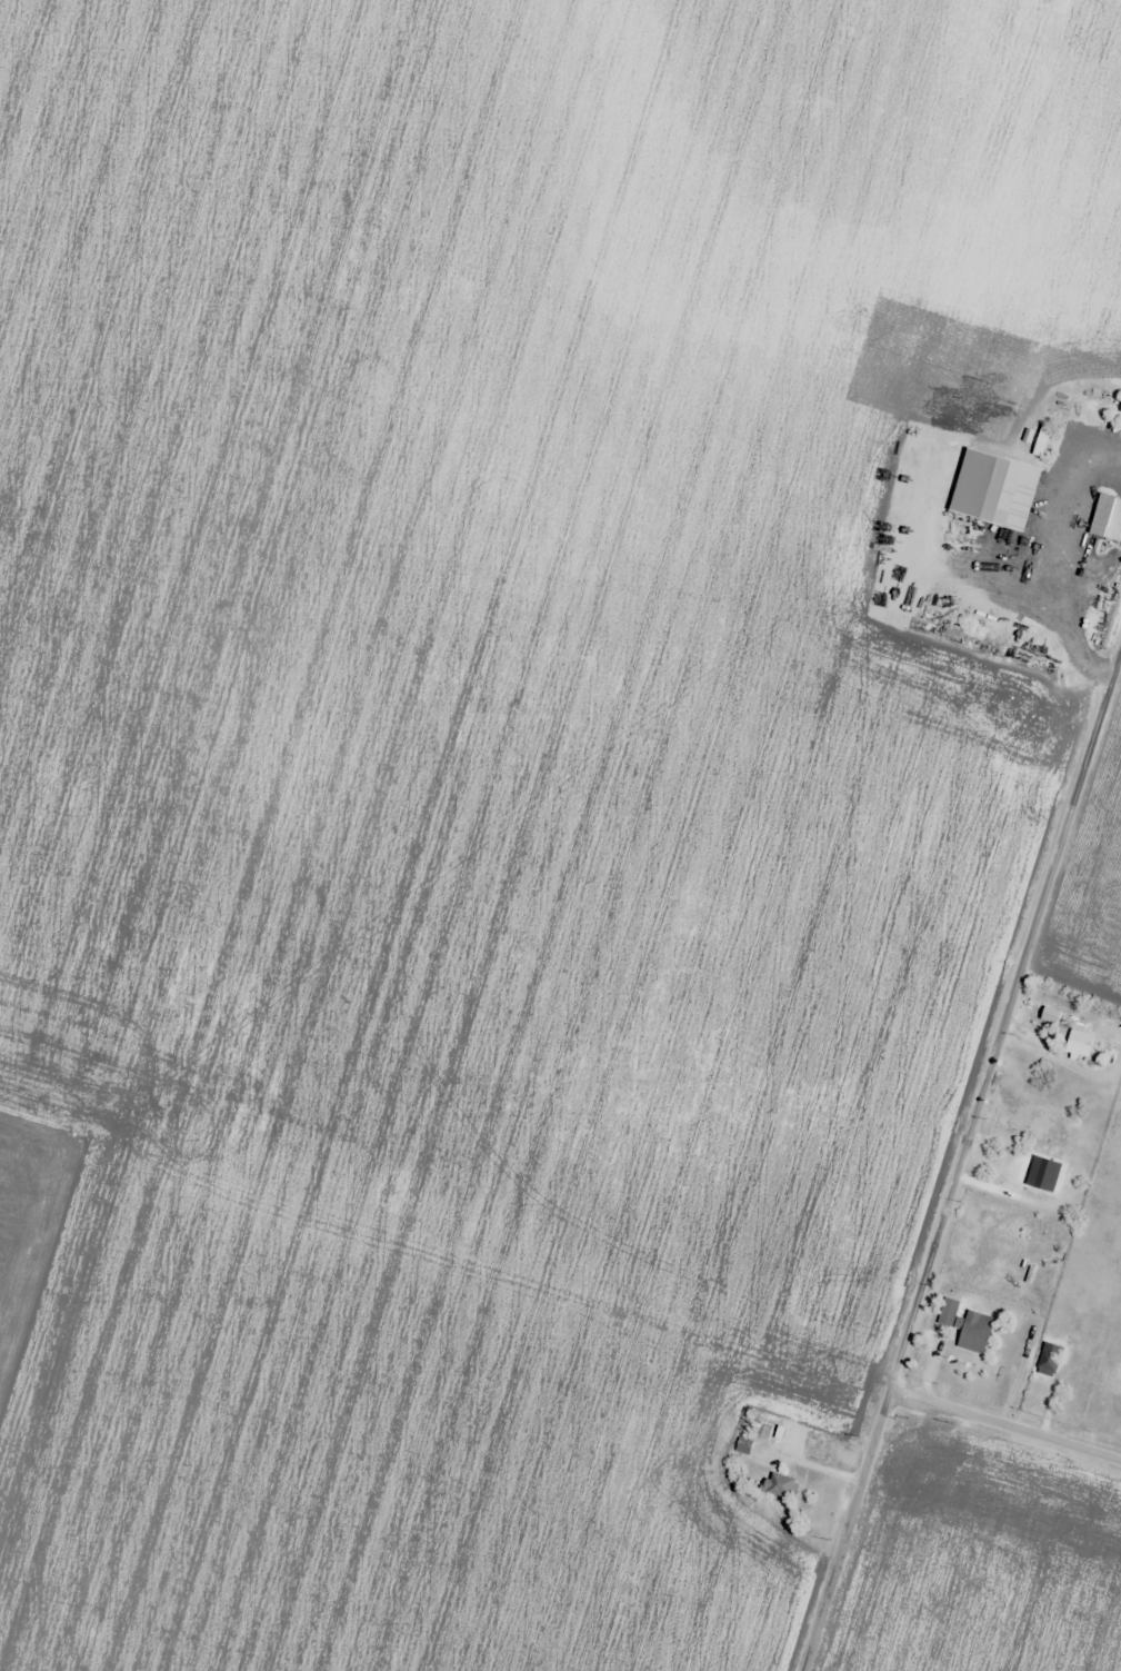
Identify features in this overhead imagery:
building: (1119, 406)
building: (1039, 441)
building: (1000, 490)
building: (1104, 518)
building: (1075, 1043)
road: (970, 1170)
building: (971, 1332)
building: (1048, 1360)
road: (1020, 1438)
crop: (985, 1569)

